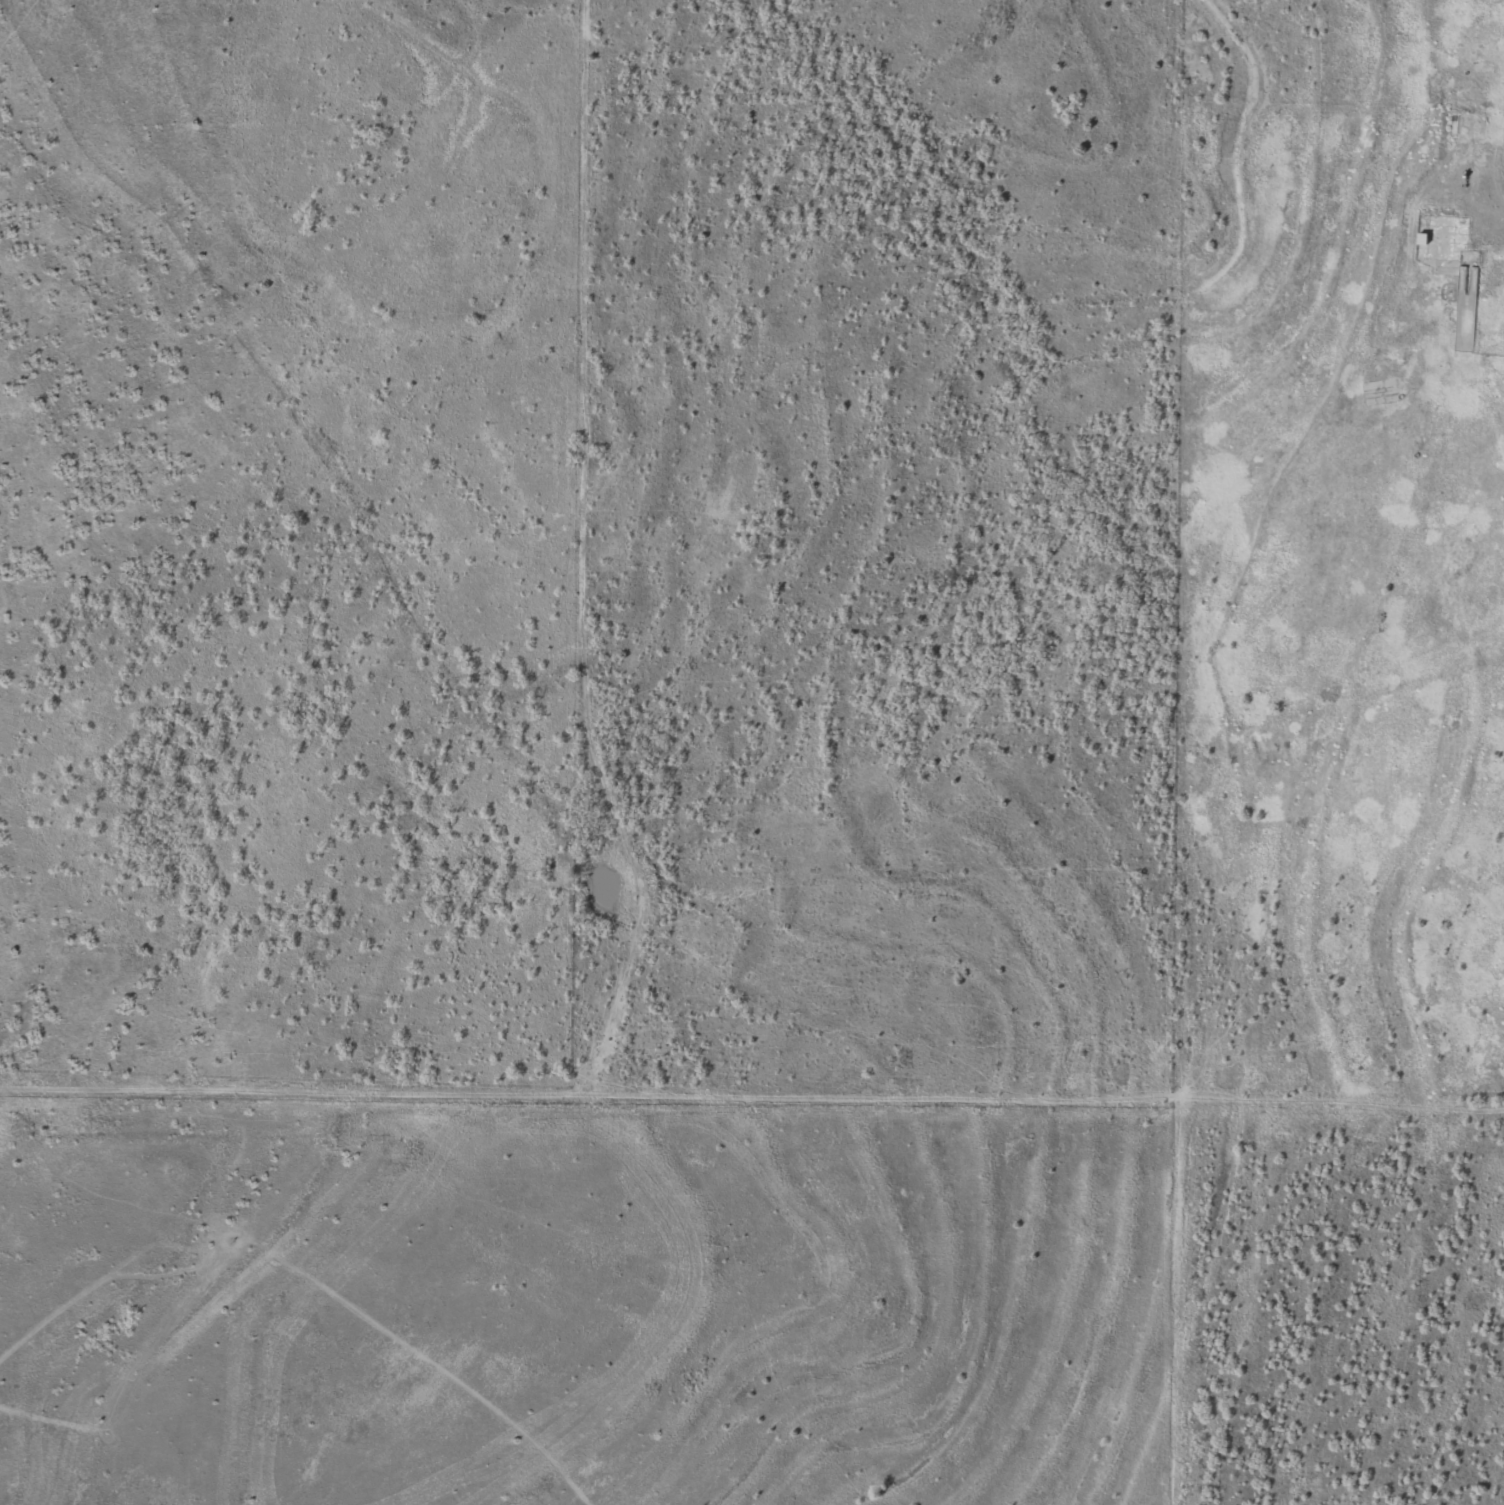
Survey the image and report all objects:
building: (1473, 125)
building: (1458, 268)
road: (752, 1124)

